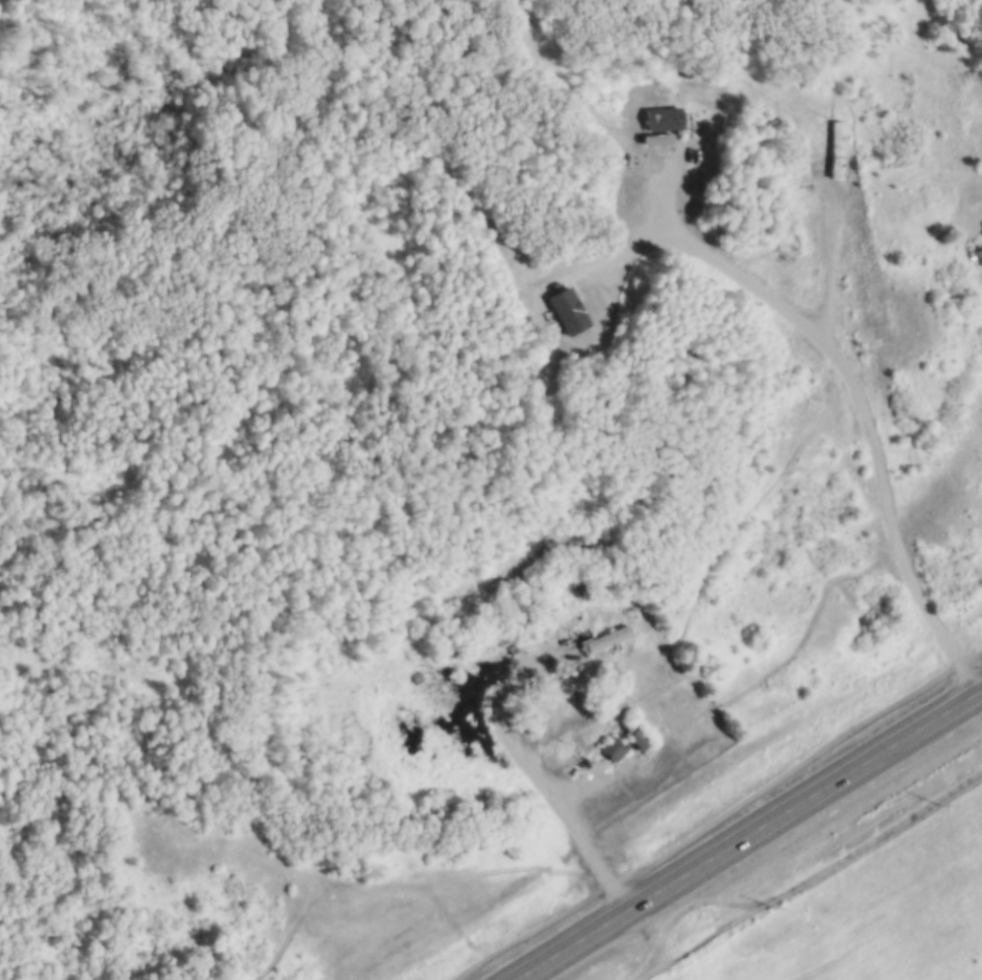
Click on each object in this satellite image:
building: (663, 116)
building: (835, 141)
road: (662, 218)
building: (979, 252)
building: (568, 308)
road: (797, 314)
building: (516, 624)
building: (604, 636)
building: (507, 638)
building: (512, 647)
building: (416, 675)
building: (635, 733)
building: (610, 746)
road: (554, 793)
road: (745, 833)
road: (804, 876)
road: (644, 930)

